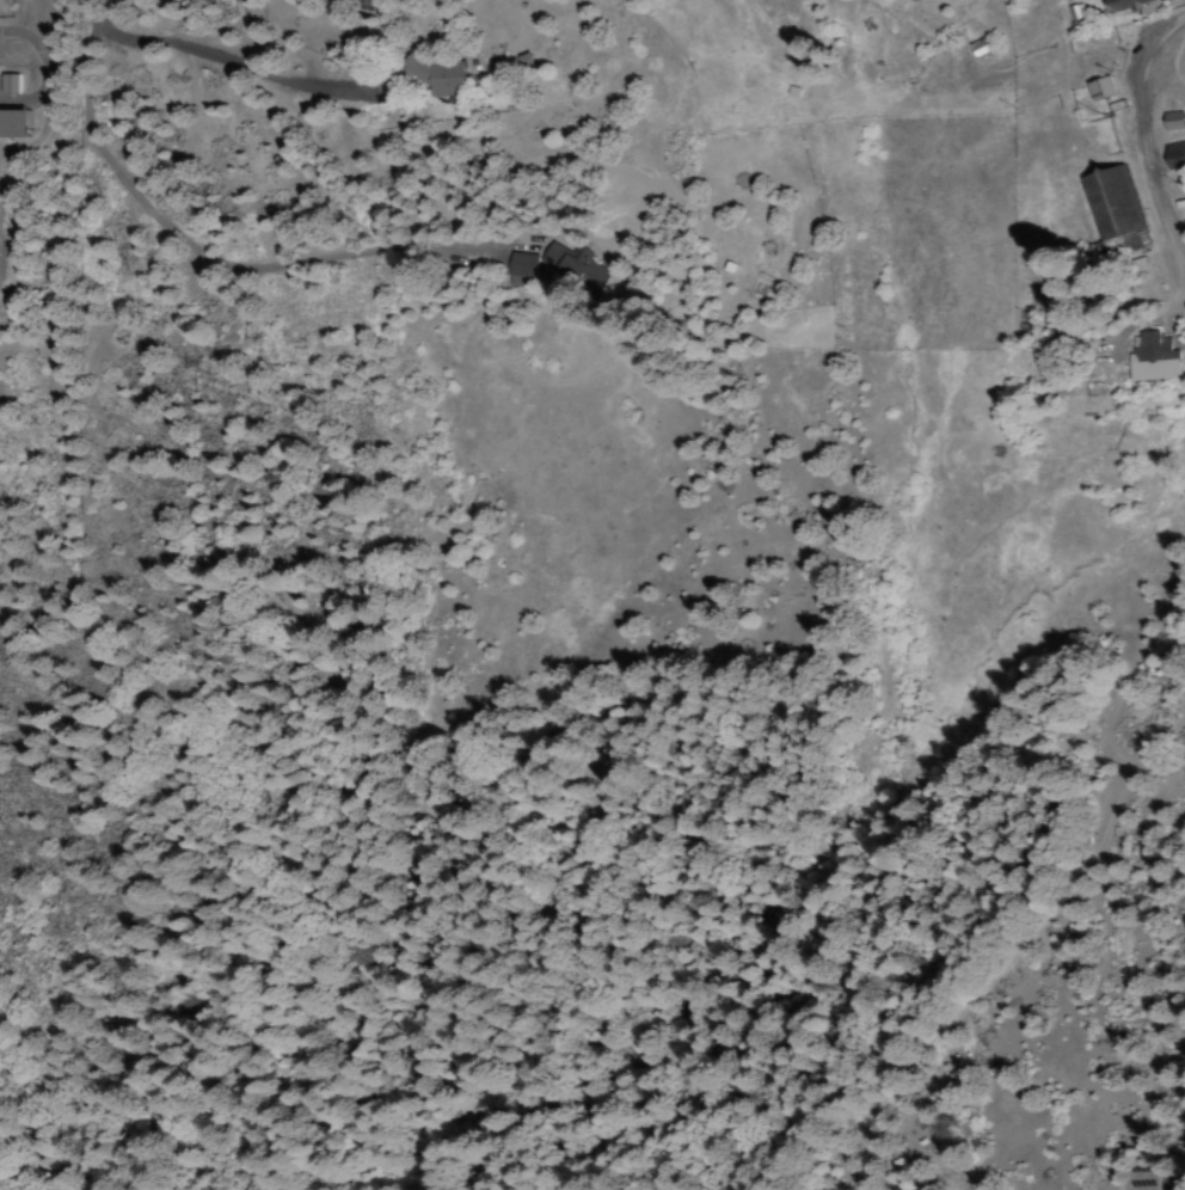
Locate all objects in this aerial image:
building: (1120, 5)
building: (978, 48)
building: (437, 75)
building: (8, 84)
building: (1098, 87)
road: (342, 121)
building: (1172, 121)
building: (11, 122)
road: (1146, 131)
road: (103, 143)
building: (1173, 154)
road: (194, 190)
building: (1111, 204)
wastewater plant: (4, 232)
road: (443, 244)
building: (520, 265)
building: (572, 265)
building: (756, 290)
building: (1152, 358)

